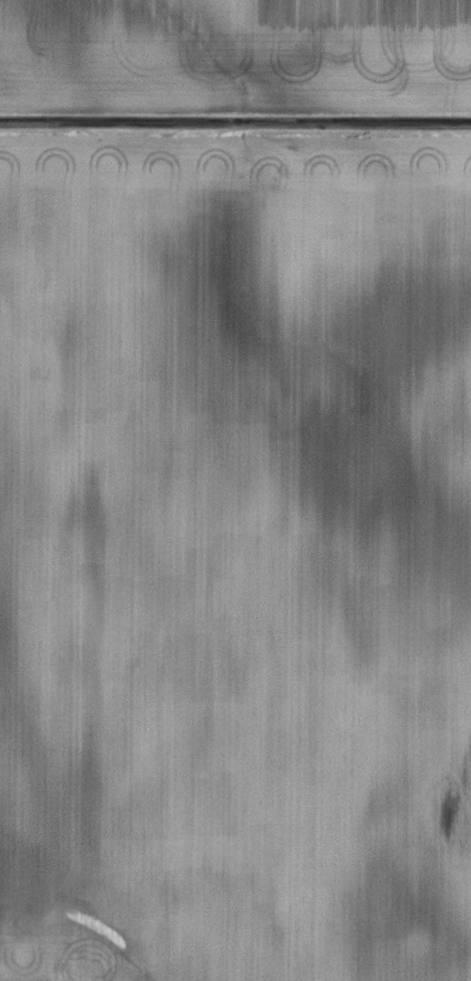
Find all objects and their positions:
road: (235, 125)

